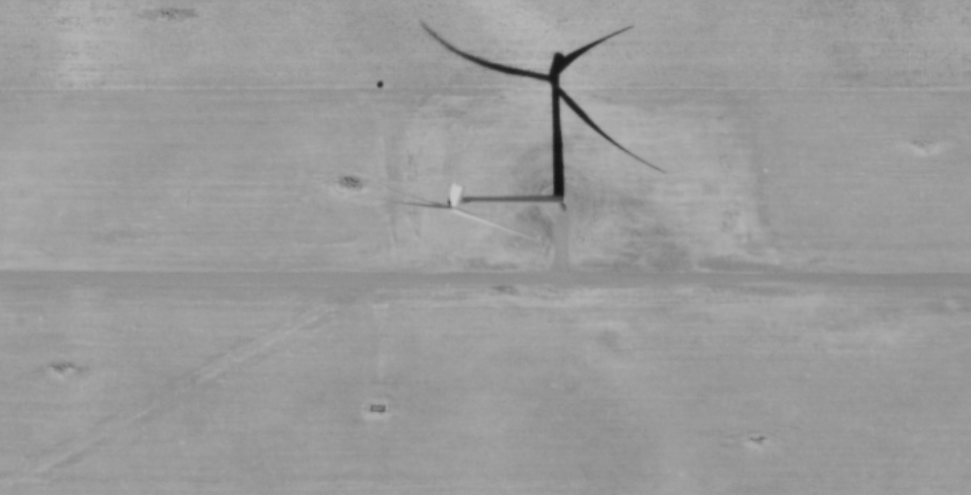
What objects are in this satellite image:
wind turbine: (558, 194)

